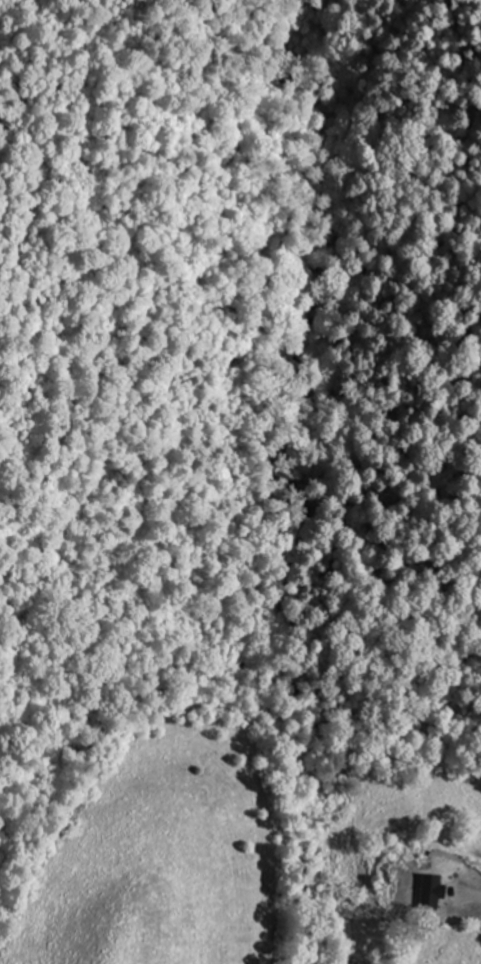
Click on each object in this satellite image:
building: (428, 893)

